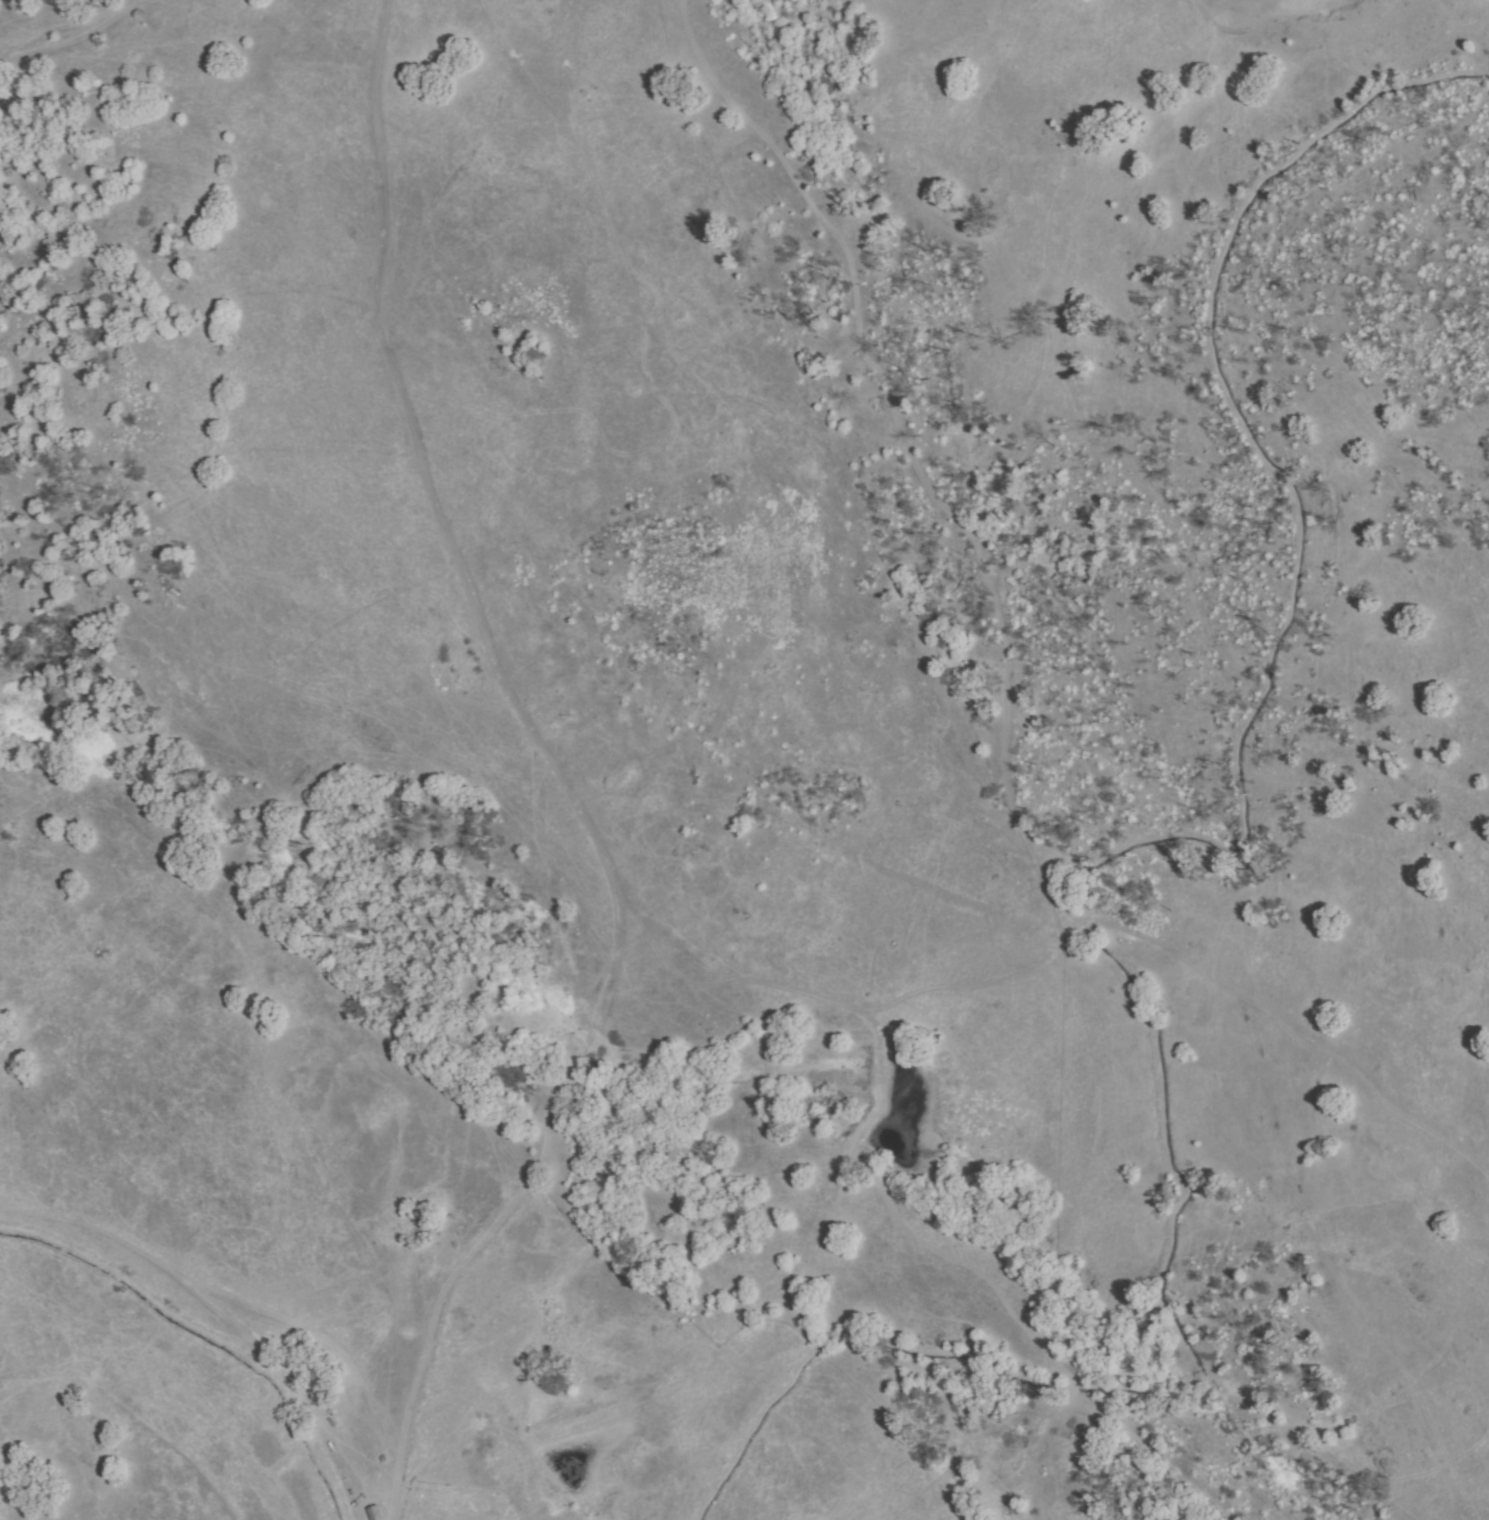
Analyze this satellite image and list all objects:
road: (554, 775)
building: (374, 1514)

